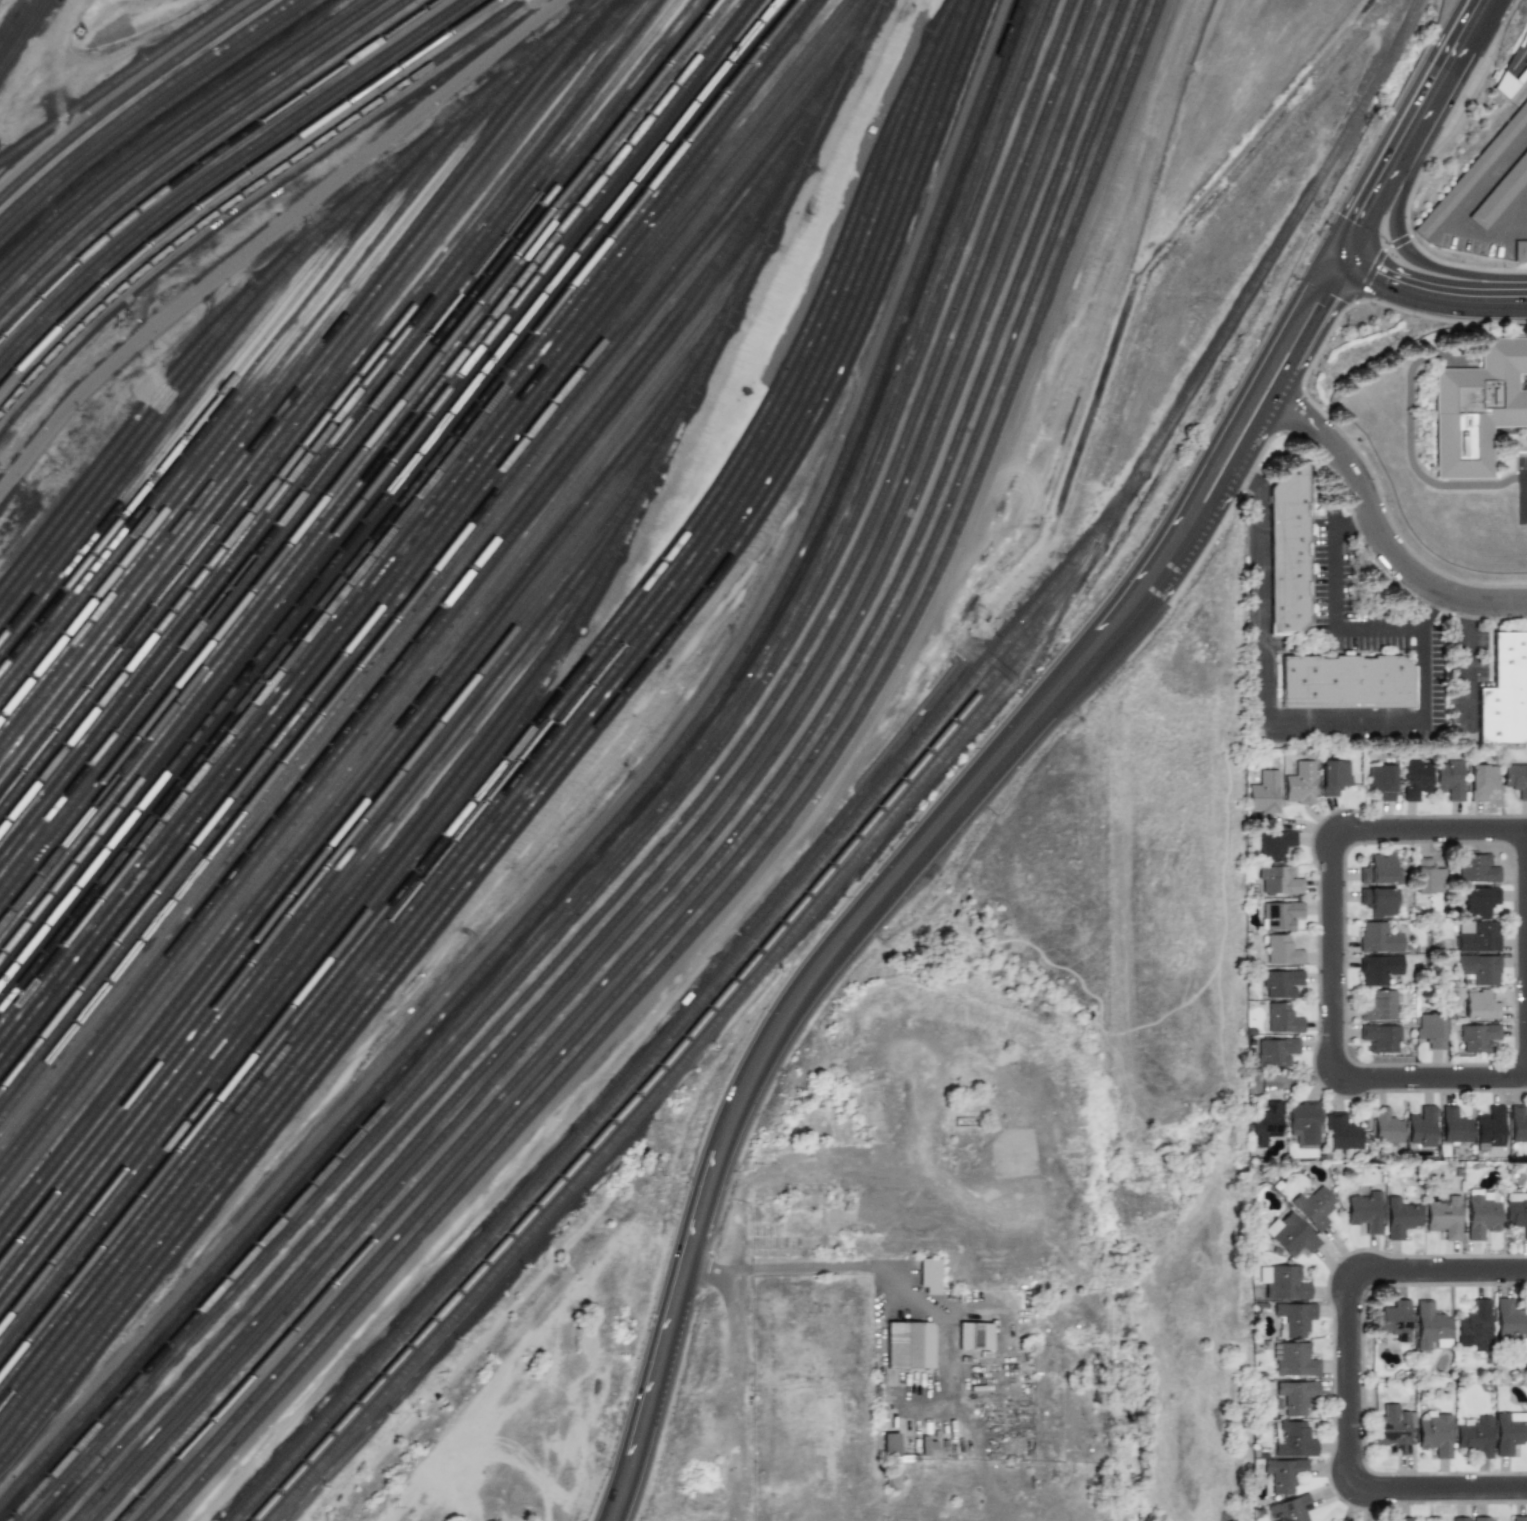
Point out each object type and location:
railway: (15, 20)
railway: (24, 37)
building: (1522, 38)
railway: (1, 42)
railway: (1, 42)
road: (127, 53)
road: (176, 59)
railway: (118, 81)
building: (1508, 83)
railway: (141, 105)
railway: (156, 115)
railway: (169, 125)
road: (1414, 127)
railway: (182, 136)
railway: (196, 147)
railway: (209, 158)
railway: (222, 168)
road: (1422, 169)
building: (1473, 178)
road: (1489, 178)
railway: (236, 179)
railway: (250, 189)
building: (1502, 200)
road: (1509, 223)
traffic signals: (1361, 227)
road: (271, 236)
road: (1468, 238)
road: (1404, 247)
building: (1522, 256)
road: (1376, 262)
railway: (274, 269)
traffic signals: (1384, 277)
road: (1432, 291)
traffic signals: (1333, 295)
railway: (282, 362)
railway: (299, 371)
railway: (245, 377)
road: (1256, 378)
railway: (313, 387)
railway: (212, 388)
railway: (298, 389)
road: (1277, 391)
railway: (178, 398)
railway: (260, 405)
road: (1315, 406)
building: (1478, 406)
railway: (321, 407)
railway: (307, 409)
road: (1290, 410)
railway: (229, 413)
railway: (328, 415)
railway: (334, 423)
railway: (195, 424)
road: (1311, 427)
railway: (340, 431)
railway: (347, 438)
railway: (158, 440)
railway: (353, 446)
railway: (125, 451)
railway: (359, 455)
railway: (365, 463)
railway: (372, 470)
railway: (378, 478)
railway: (388, 491)
railway: (399, 505)
railway: (405, 513)
railway: (411, 521)
road: (1350, 521)
railway: (418, 528)
railway: (424, 536)
railway: (430, 544)
road: (1364, 545)
building: (1289, 549)
railway: (436, 553)
railway: (440, 563)
road: (1409, 569)
railway: (417, 609)
railway: (454, 609)
road: (1332, 614)
railway: (399, 646)
road: (1465, 664)
building: (1345, 682)
building: (1505, 692)
railway: (374, 693)
railway: (410, 695)
railway: (377, 722)
road: (1276, 723)
railway: (507, 729)
railway: (535, 739)
railway: (541, 747)
railway: (512, 751)
railway: (546, 757)
railway: (384, 761)
railway: (552, 765)
railway: (559, 773)
building: (1334, 776)
railway: (358, 777)
building: (1415, 778)
building: (1449, 778)
building: (1515, 779)
building: (1482, 780)
building: (1381, 781)
building: (1299, 782)
building: (1264, 792)
railway: (905, 802)
railway: (365, 816)
road: (1451, 816)
railway: (617, 823)
railway: (633, 829)
railway: (654, 830)
railway: (675, 831)
railway: (696, 831)
railway: (716, 832)
railway: (339, 833)
railway: (737, 833)
railway: (758, 833)
railway: (778, 833)
building: (1275, 844)
building: (1476, 868)
building: (1379, 869)
railway: (345, 873)
building: (1429, 878)
building: (1279, 881)
railway: (321, 887)
building: (1378, 900)
building: (1478, 900)
building: (1280, 915)
railway: (328, 926)
building: (1476, 936)
railway: (307, 937)
building: (1379, 937)
building: (1280, 949)
road: (1331, 953)
building: (1478, 968)
road: (810, 969)
building: (1379, 969)
building: (1280, 983)
railway: (294, 985)
railway: (698, 1004)
building: (1479, 1004)
building: (1379, 1005)
building: (1283, 1017)
building: (1430, 1028)
building: (1477, 1036)
building: (1381, 1037)
railway: (684, 1040)
building: (1276, 1051)
building: (1303, 1121)
building: (1265, 1124)
building: (1454, 1124)
building: (1387, 1125)
building: (1517, 1125)
building: (1422, 1126)
building: (1490, 1126)
building: (1342, 1131)
building: (1313, 1206)
building: (1364, 1209)
building: (1517, 1210)
building: (1480, 1215)
building: (1400, 1217)
building: (1444, 1217)
building: (1291, 1235)
road: (871, 1266)
road: (1441, 1271)
building: (928, 1276)
building: (1282, 1282)
building: (1294, 1317)
building: (1394, 1319)
building: (1510, 1319)
building: (1430, 1324)
building: (1474, 1325)
building: (976, 1336)
building: (909, 1345)
building: (1294, 1359)
road: (941, 1374)
building: (1297, 1395)
road: (733, 1397)
road: (964, 1397)
building: (1392, 1427)
building: (1435, 1432)
building: (1508, 1434)
building: (1475, 1437)
building: (1293, 1439)
building: (890, 1445)
building: (928, 1445)
road: (1353, 1463)
building: (1284, 1473)
building: (892, 1478)
building: (1290, 1508)
building: (1457, 1518)
building: (1483, 1518)
building: (1519, 1518)
building: (1405, 1519)

